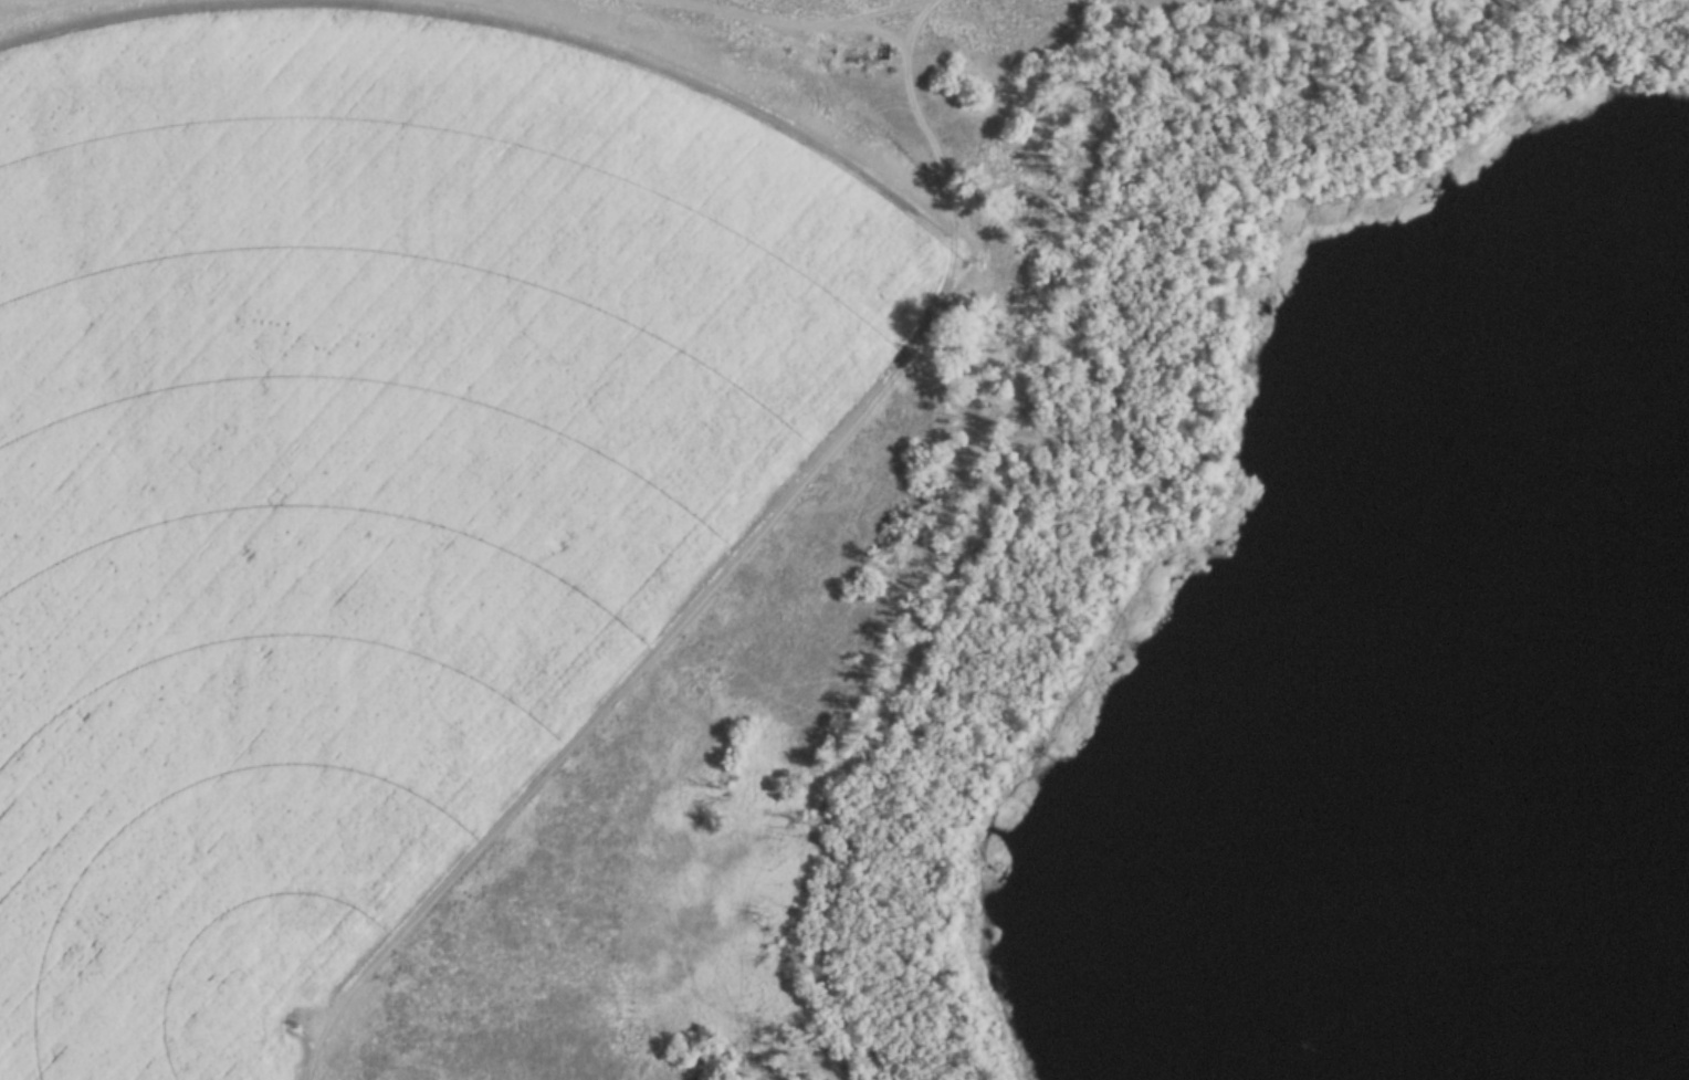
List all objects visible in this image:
crop: (355, 473)

